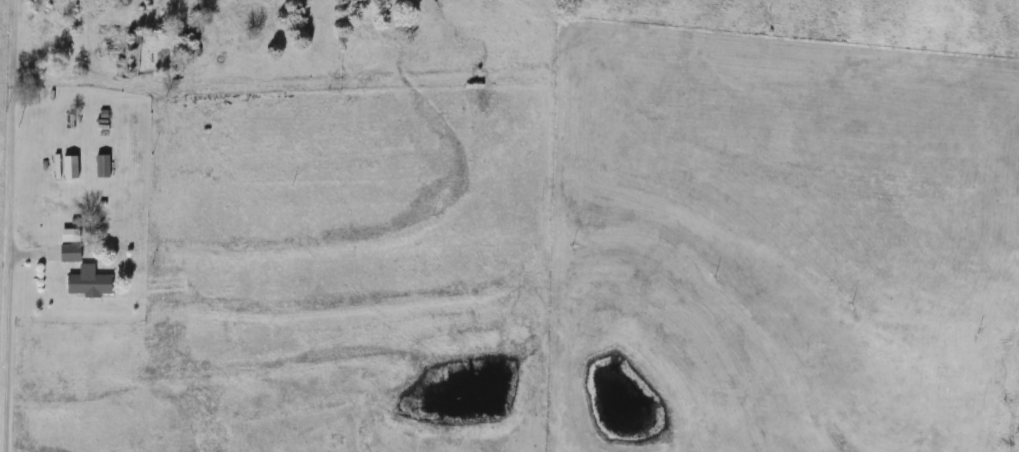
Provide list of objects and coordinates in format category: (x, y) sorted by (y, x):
building: (104, 166)
building: (72, 167)
road: (8, 226)
building: (71, 253)
building: (91, 283)

